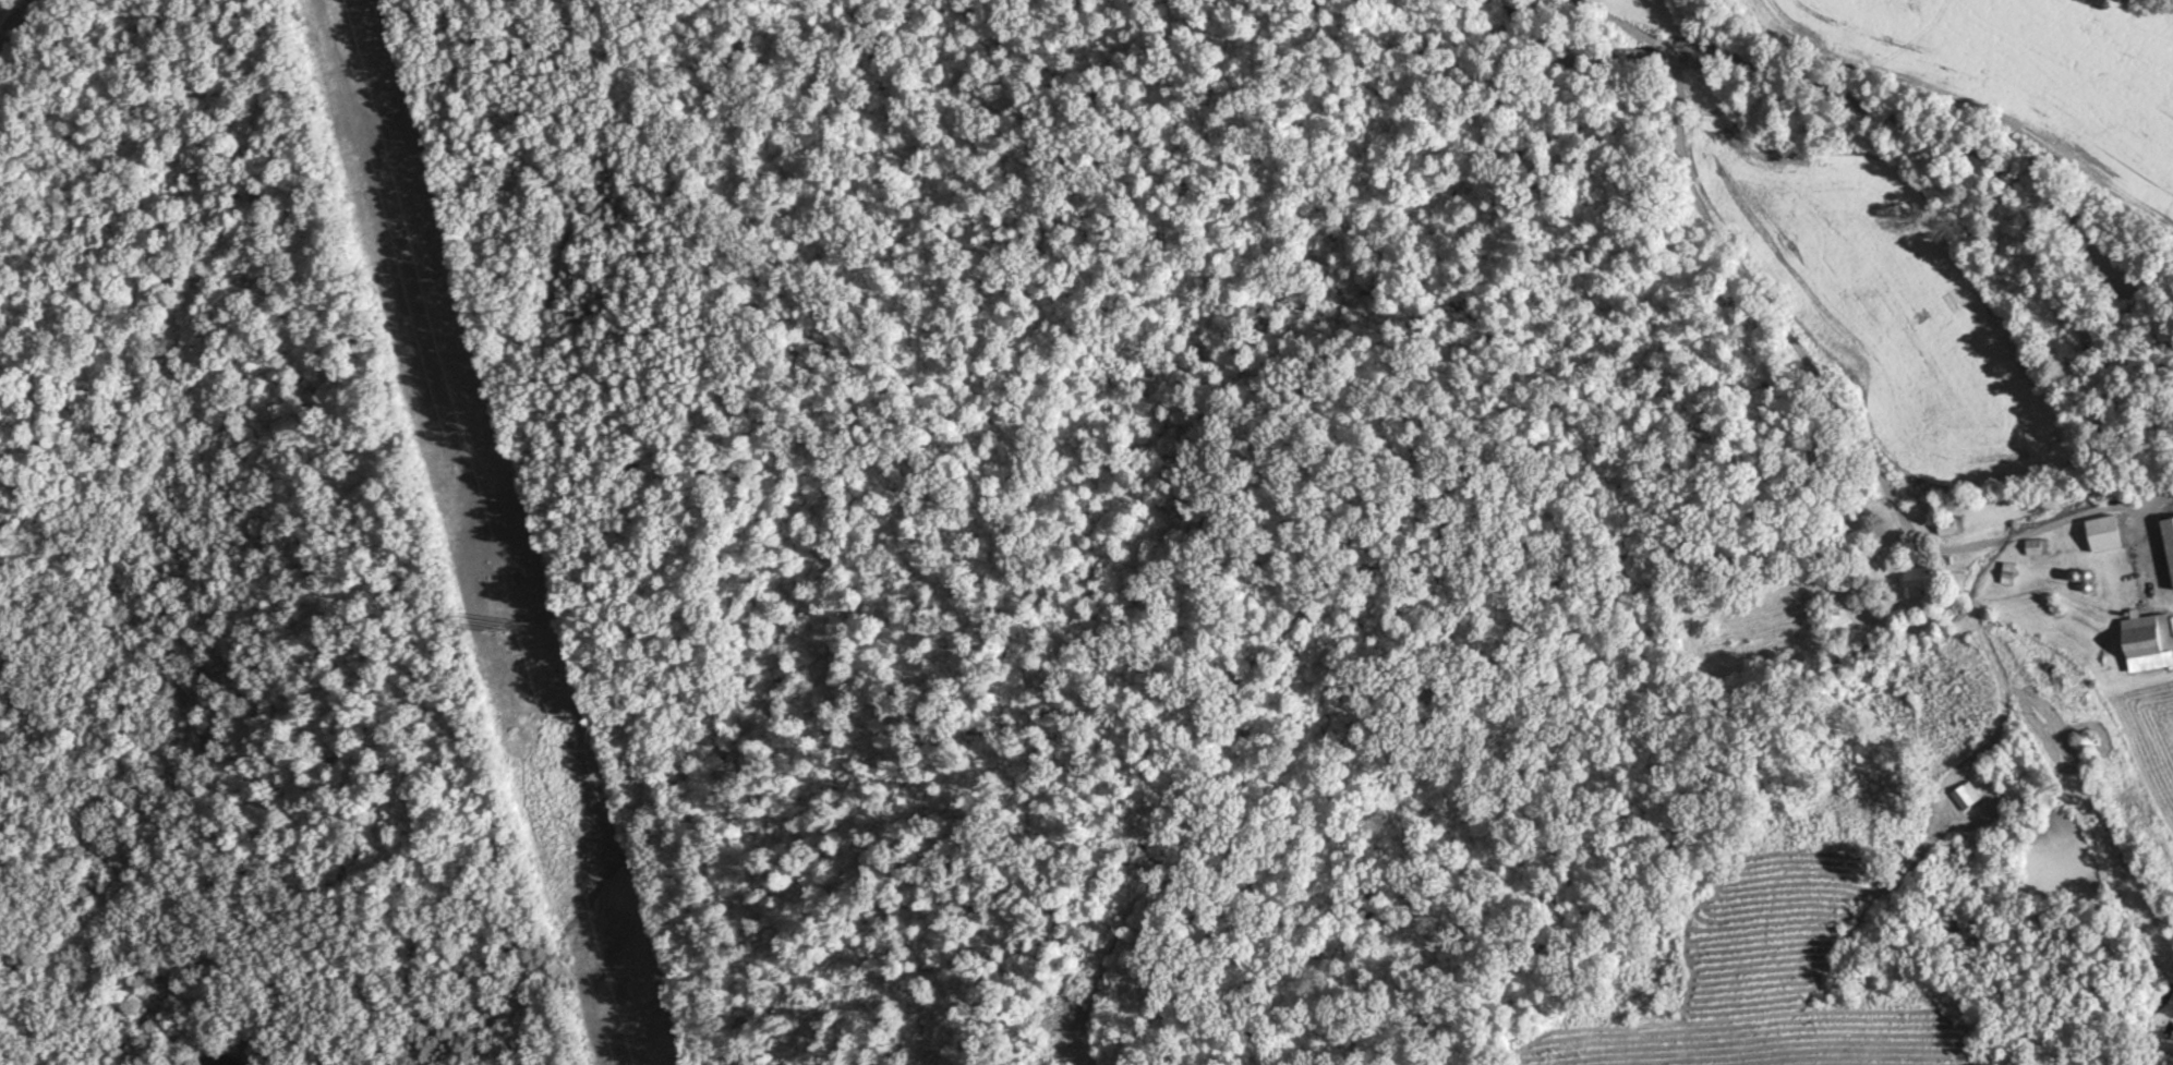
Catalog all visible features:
road: (15, 17)
road: (1795, 359)
building: (1951, 525)
building: (2105, 533)
building: (2170, 540)
building: (2037, 546)
building: (1918, 580)
power tower: (519, 641)
building: (2148, 641)
building: (2088, 742)
building: (1967, 795)

